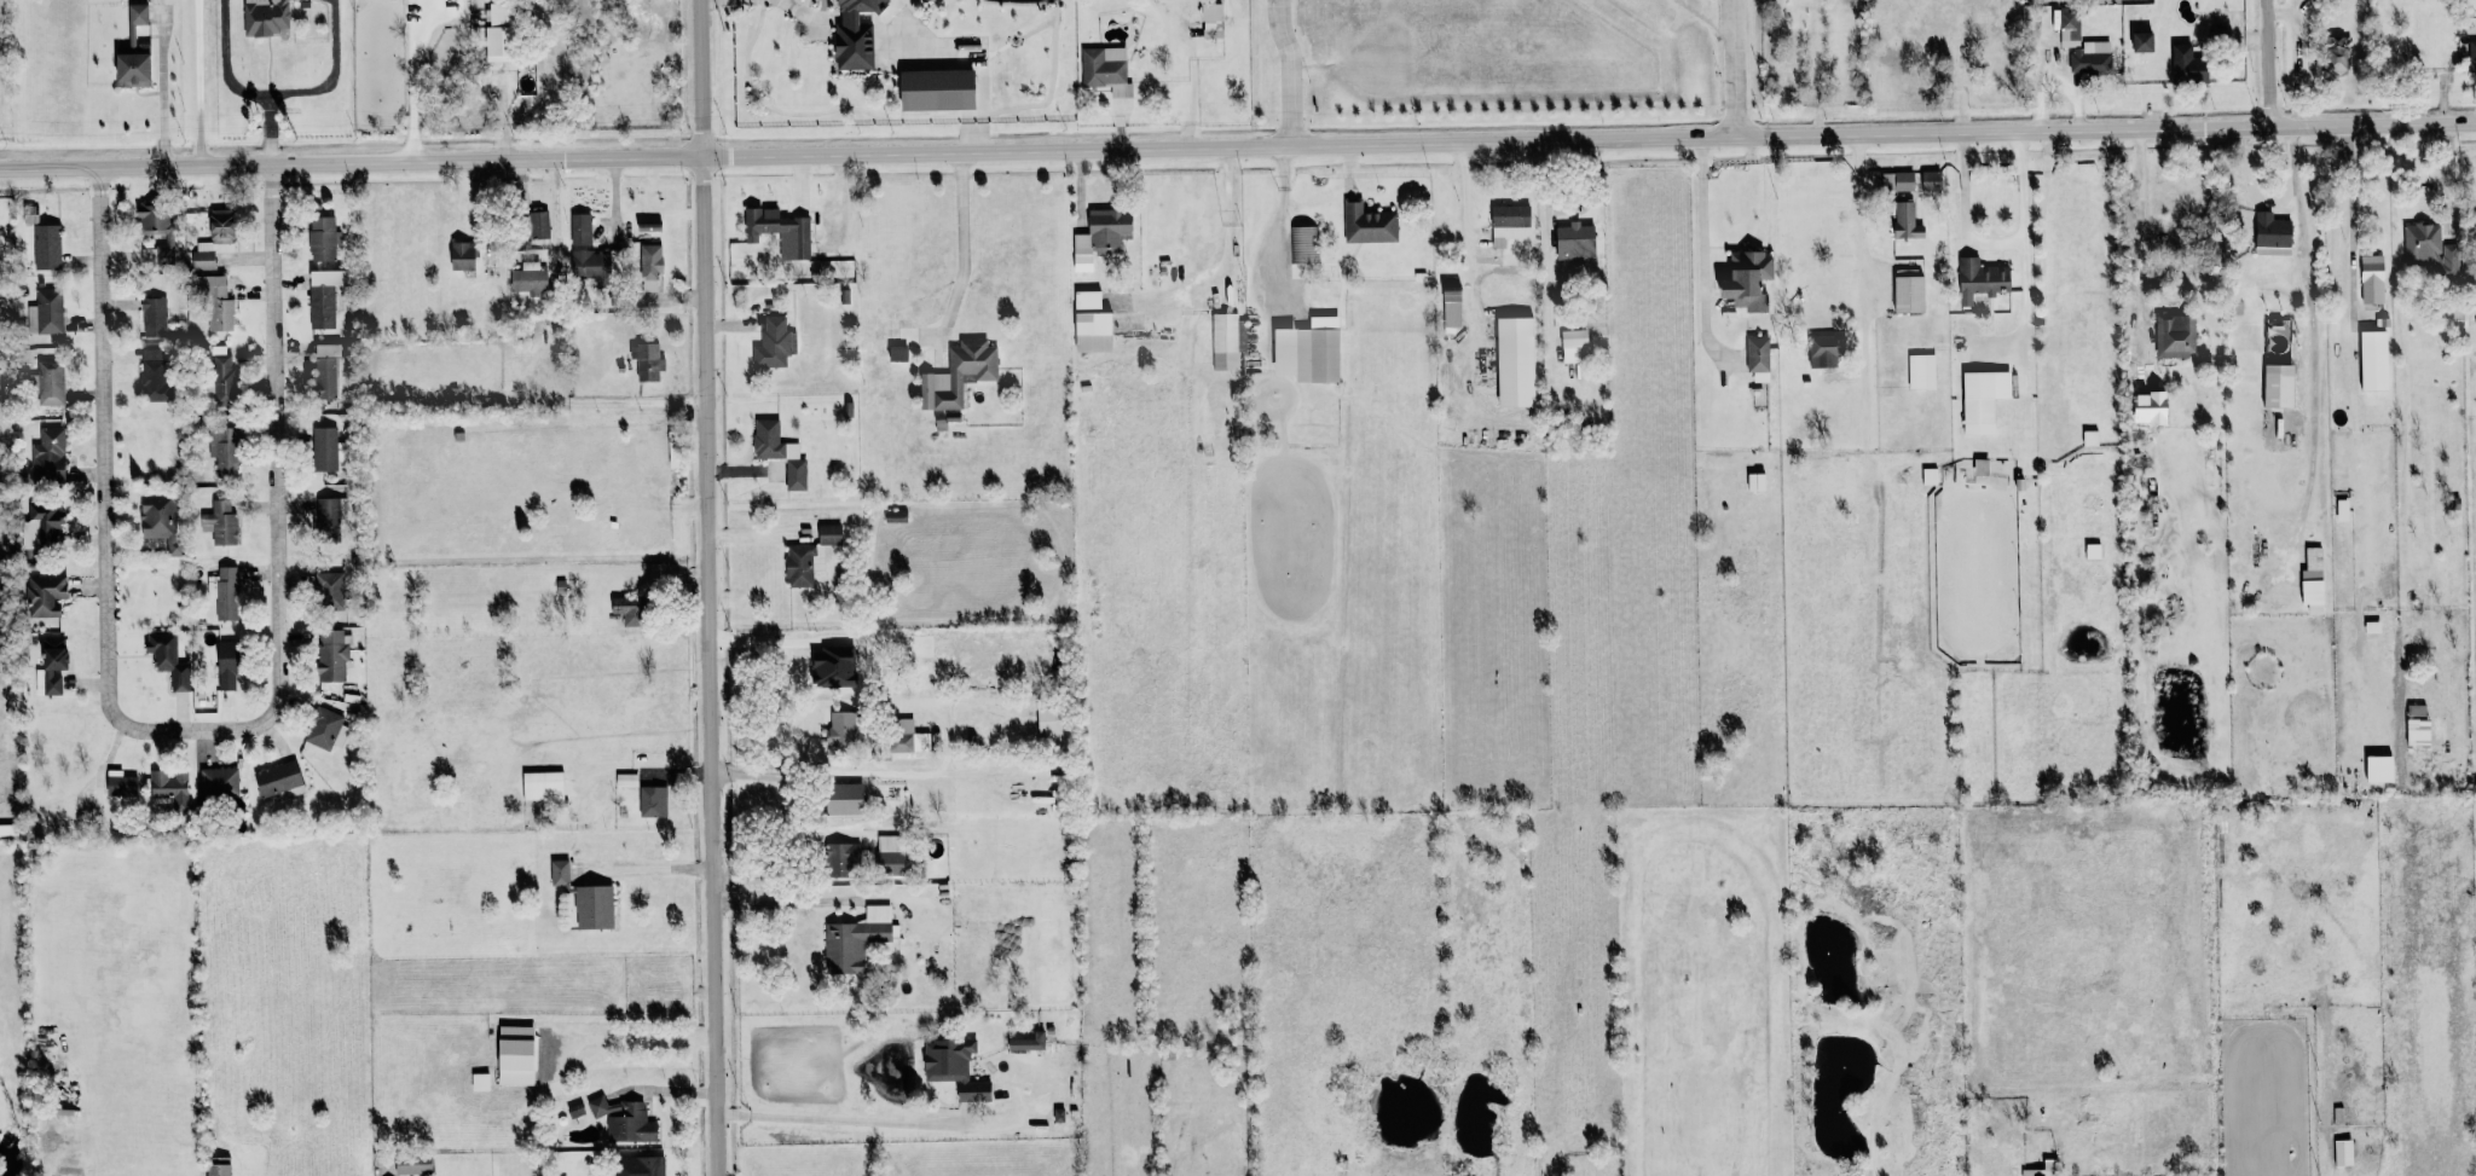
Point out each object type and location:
road: (794, 8)
road: (1718, 10)
building: (266, 17)
building: (1211, 21)
building: (2070, 25)
building: (498, 33)
building: (854, 35)
building: (2142, 42)
building: (133, 52)
building: (2335, 52)
building: (2472, 56)
building: (2092, 58)
road: (2269, 62)
building: (2187, 65)
road: (1734, 66)
building: (1106, 70)
road: (1288, 70)
road: (332, 73)
road: (416, 79)
road: (196, 82)
road: (162, 87)
road: (238, 89)
building: (936, 89)
road: (1238, 143)
road: (2452, 176)
road: (2348, 180)
building: (1897, 181)
building: (1931, 183)
road: (2250, 185)
road: (2137, 205)
road: (1701, 213)
building: (1907, 221)
building: (538, 222)
building: (1509, 224)
building: (220, 225)
building: (1369, 225)
building: (648, 227)
building: (579, 230)
building: (779, 231)
building: (2272, 234)
building: (168, 238)
building: (322, 238)
building: (1099, 238)
road: (961, 241)
building: (1575, 242)
road: (1471, 243)
building: (1304, 244)
road: (1990, 245)
building: (46, 247)
building: (2430, 249)
road: (1861, 251)
building: (202, 255)
building: (462, 256)
building: (614, 261)
building: (586, 265)
building: (649, 266)
building: (528, 279)
building: (1980, 279)
building: (2372, 279)
building: (1747, 280)
building: (1908, 294)
building: (323, 297)
building: (215, 302)
building: (1451, 306)
building: (45, 313)
building: (154, 318)
building: (1091, 323)
road: (2314, 330)
building: (2175, 336)
building: (1573, 338)
building: (1227, 341)
building: (774, 343)
building: (1822, 352)
building: (1307, 354)
building: (1758, 354)
building: (2373, 360)
building: (646, 361)
building: (1515, 363)
building: (1921, 371)
building: (329, 373)
building: (154, 375)
building: (959, 375)
building: (220, 376)
building: (47, 383)
building: (2278, 386)
building: (1983, 400)
building: (323, 450)
building: (224, 451)
building: (779, 452)
building: (47, 457)
building: (895, 516)
building: (161, 520)
building: (326, 520)
building: (220, 522)
building: (41, 527)
building: (829, 534)
building: (800, 566)
building: (2313, 581)
road: (715, 587)
building: (329, 591)
building: (225, 593)
building: (44, 595)
building: (627, 612)
building: (331, 656)
building: (168, 660)
building: (50, 666)
building: (228, 666)
building: (832, 668)
road: (779, 705)
building: (1048, 723)
road: (185, 726)
building: (840, 726)
building: (2418, 728)
building: (323, 729)
building: (902, 736)
building: (2379, 769)
road: (877, 774)
building: (626, 780)
building: (279, 781)
building: (219, 783)
building: (120, 784)
building: (542, 786)
building: (170, 788)
building: (843, 799)
building: (653, 801)
road: (775, 835)
building: (890, 856)
building: (841, 859)
building: (559, 873)
road: (665, 873)
road: (798, 903)
building: (594, 908)
building: (855, 940)
road: (654, 1042)
building: (1028, 1042)
building: (954, 1067)
building: (514, 1076)
building: (480, 1082)
road: (667, 1090)
road: (845, 1119)
building: (624, 1120)
building: (2343, 1153)
building: (412, 1164)
building: (218, 1166)
building: (637, 1166)
building: (2043, 1169)

